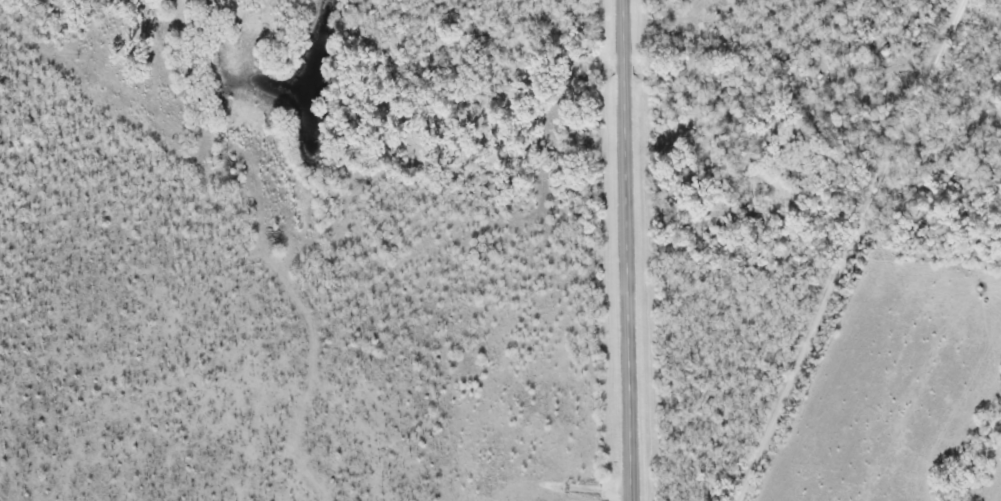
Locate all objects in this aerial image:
road: (628, 250)
road: (853, 250)

